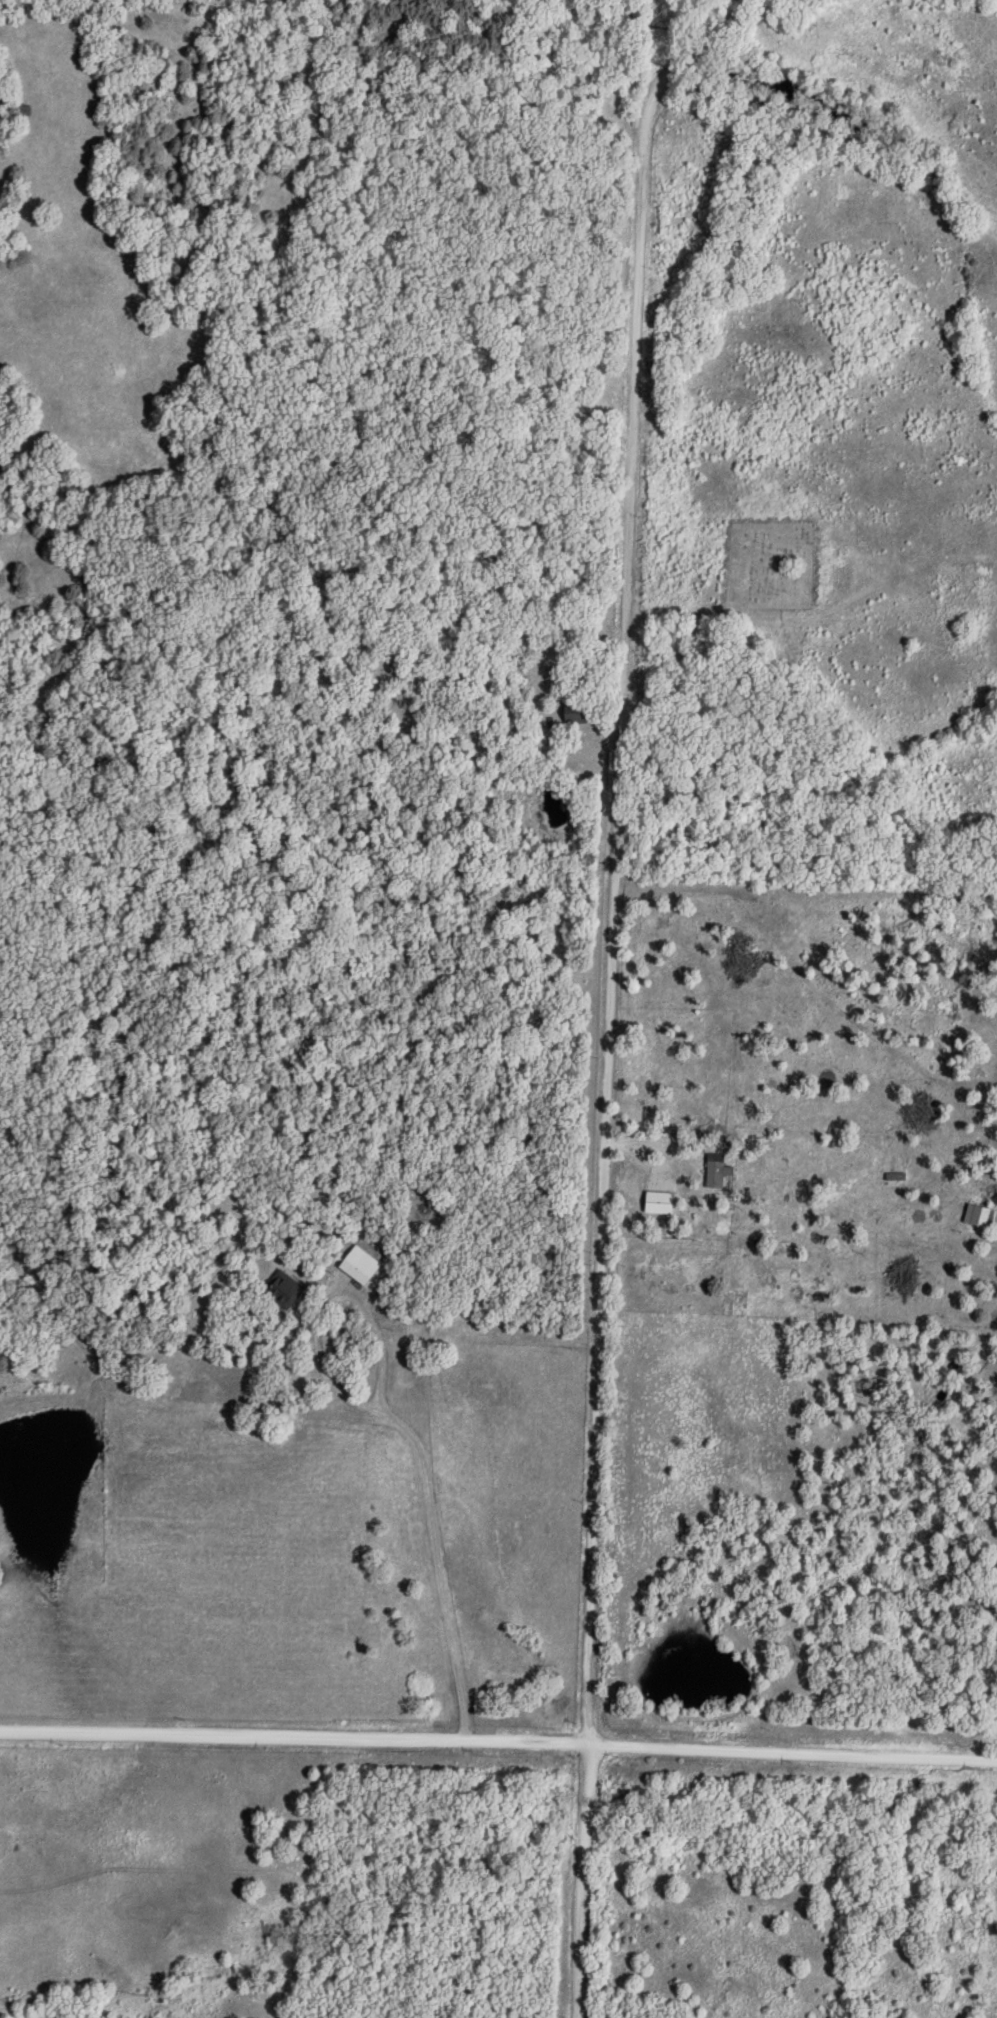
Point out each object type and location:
park: (772, 569)
building: (576, 713)
road: (614, 1006)
building: (716, 1169)
building: (980, 1215)
building: (361, 1264)
building: (283, 1288)
road: (498, 1741)

